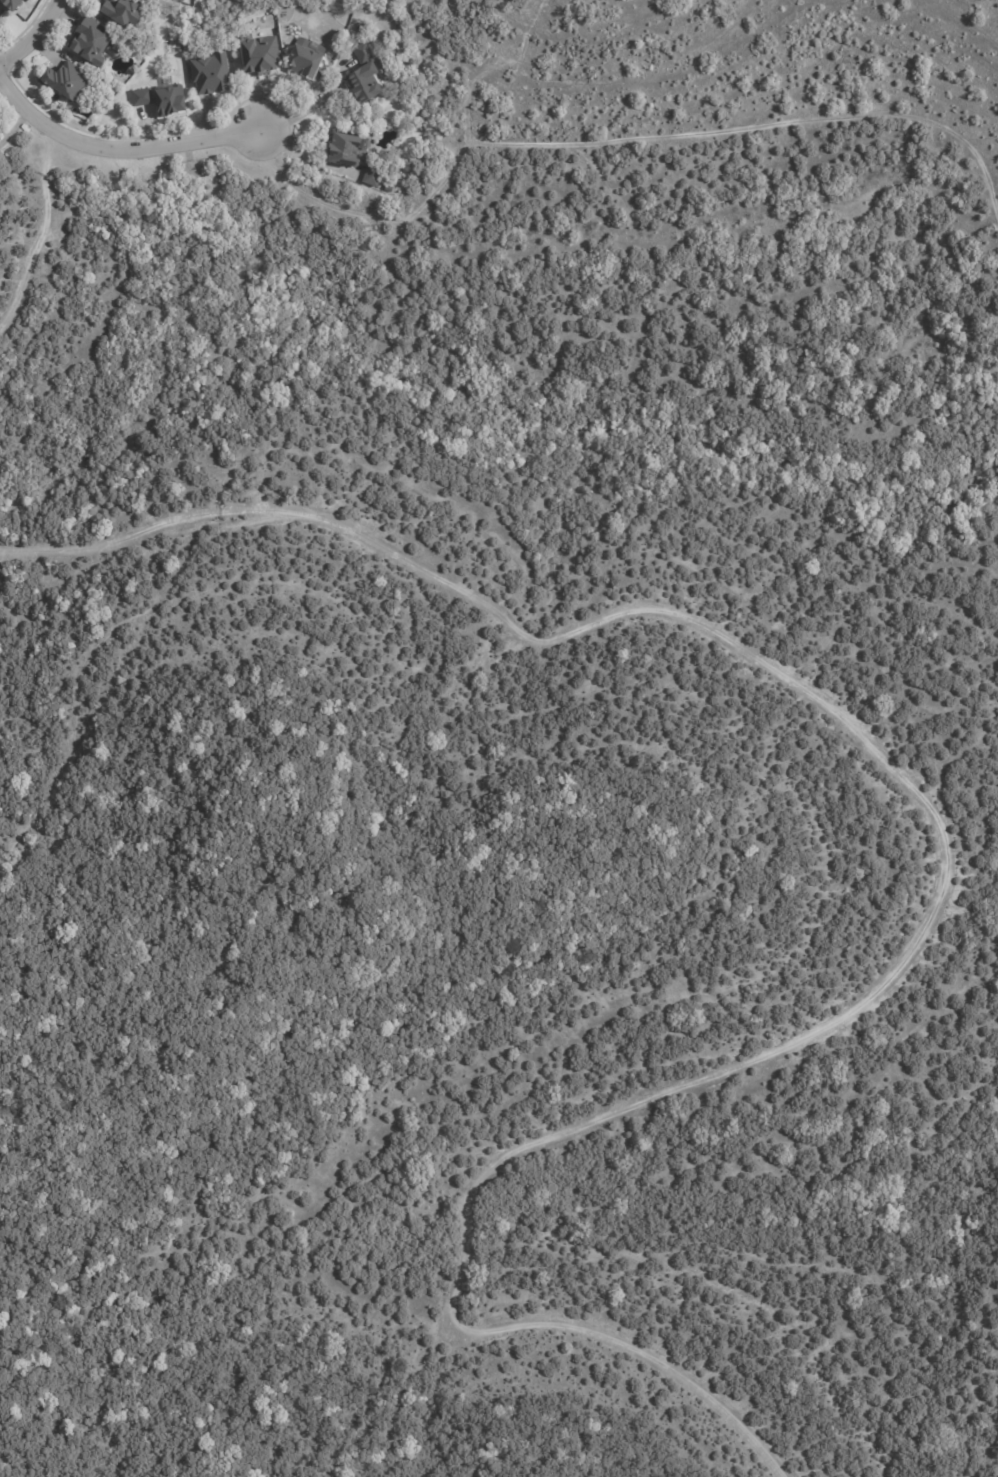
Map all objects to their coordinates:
building: (15, 3)
building: (120, 13)
road: (32, 35)
building: (89, 41)
building: (256, 55)
building: (301, 62)
building: (209, 74)
building: (363, 74)
building: (65, 81)
building: (160, 100)
road: (134, 150)
building: (354, 159)
road: (42, 234)
road: (949, 869)

